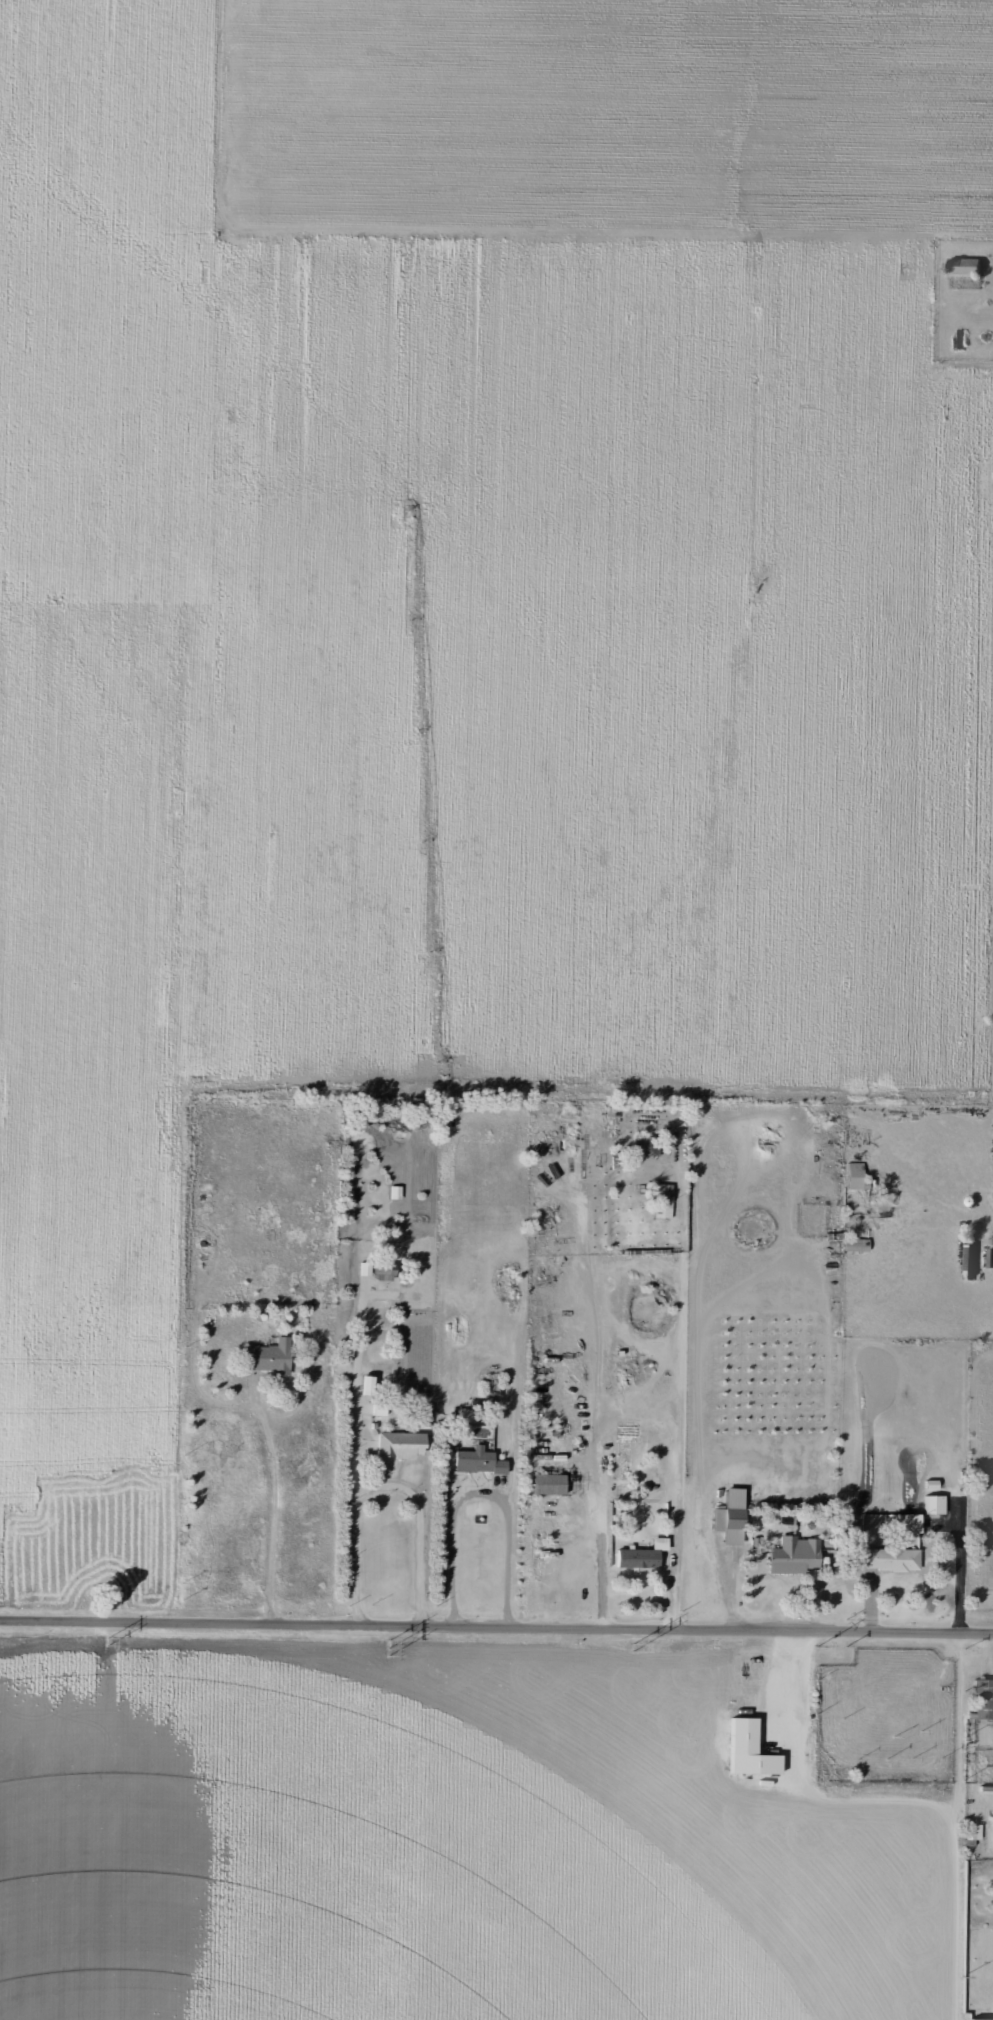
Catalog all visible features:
building: (963, 266)
road: (342, 544)
road: (930, 823)
building: (648, 1144)
building: (857, 1175)
building: (858, 1244)
building: (990, 1258)
building: (273, 1355)
building: (370, 1384)
road: (633, 1413)
building: (404, 1444)
building: (478, 1459)
road: (356, 1466)
building: (551, 1483)
road: (478, 1495)
building: (933, 1503)
building: (901, 1521)
building: (727, 1524)
road: (422, 1531)
building: (792, 1554)
building: (639, 1555)
building: (889, 1557)
road: (496, 1640)
building: (981, 1697)
building: (748, 1749)
road: (544, 1830)
building: (992, 1833)
building: (978, 2018)

